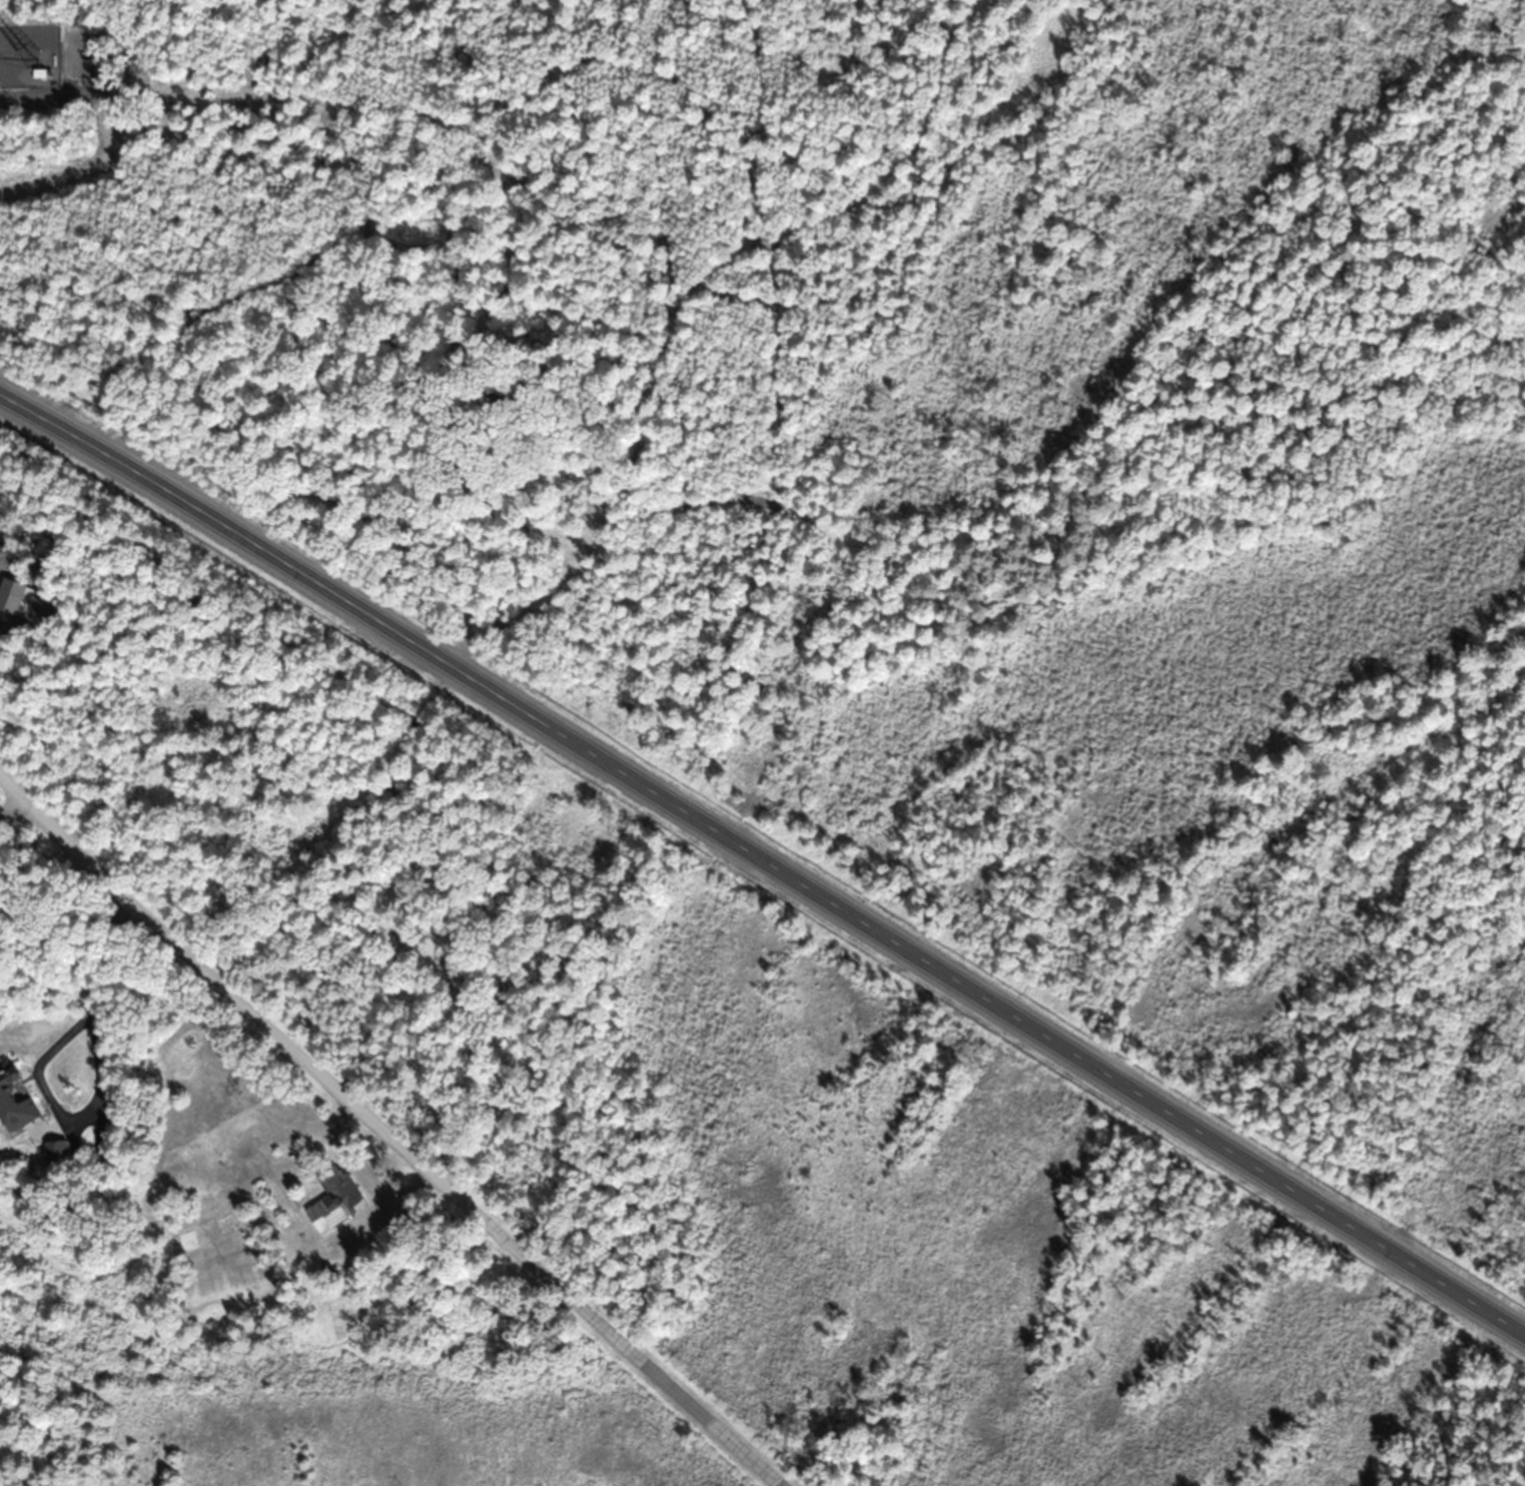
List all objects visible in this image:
road: (15, 805)
road: (764, 857)
building: (13, 1100)
road: (389, 1132)
building: (55, 1152)
building: (333, 1199)

